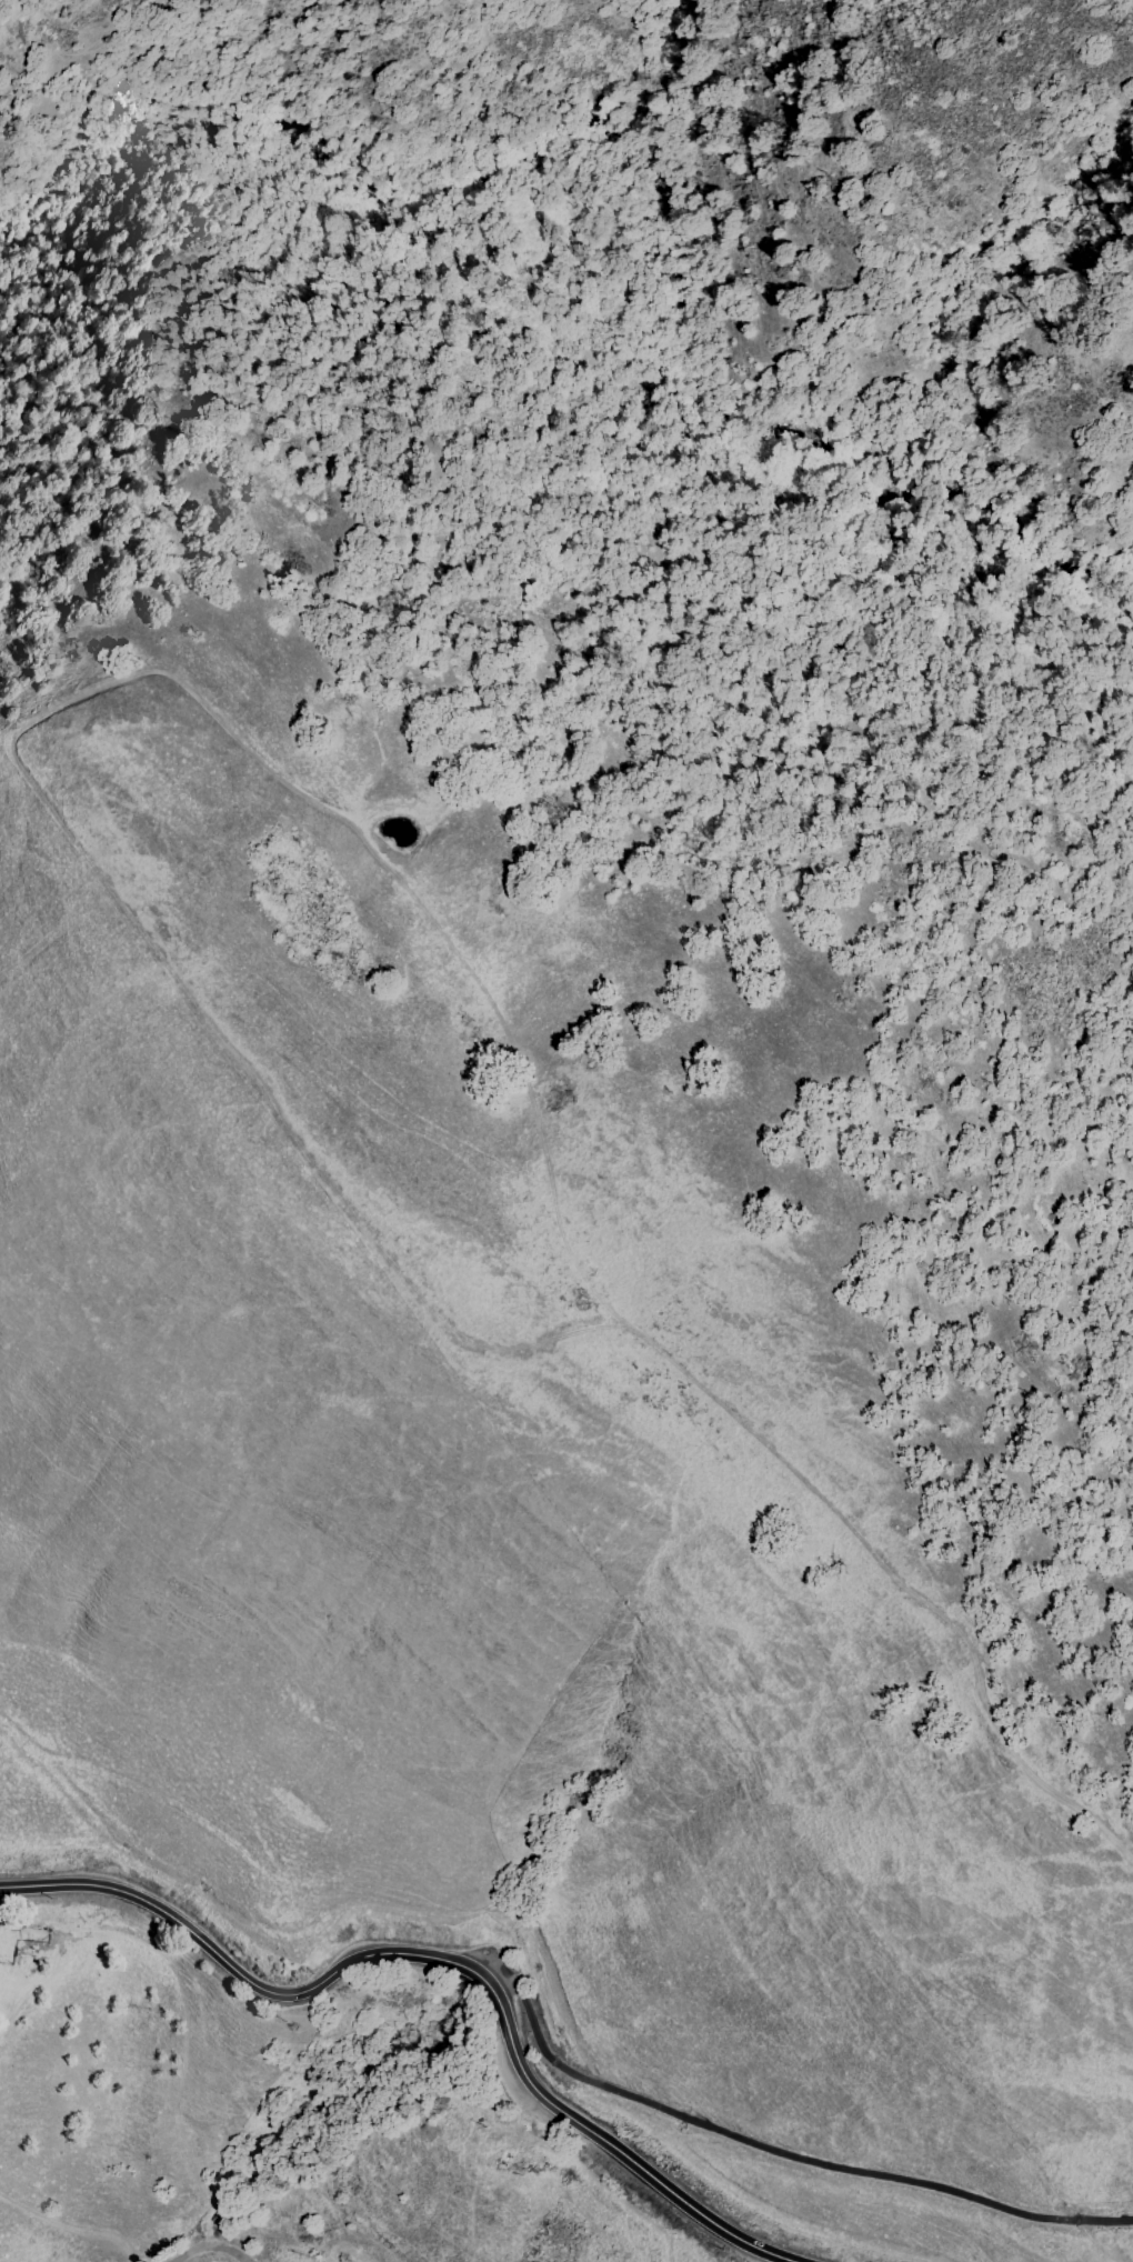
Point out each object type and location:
road: (441, 1960)
road: (783, 2152)
road: (207, 2246)

